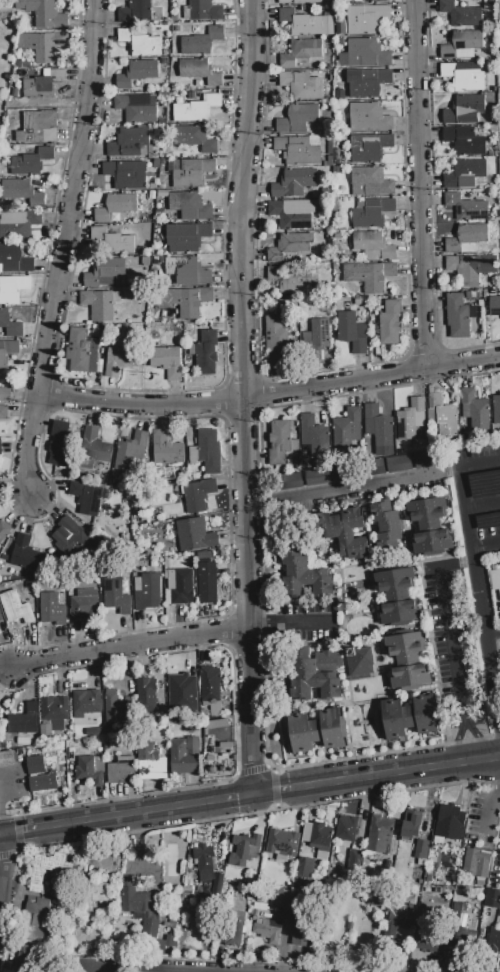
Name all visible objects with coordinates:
building: (376, 1)
building: (498, 1)
building: (299, 2)
building: (202, 11)
building: (136, 12)
building: (44, 13)
building: (462, 14)
building: (367, 19)
building: (307, 23)
building: (340, 26)
building: (201, 42)
building: (141, 43)
building: (44, 45)
building: (462, 45)
building: (301, 52)
building: (365, 54)
building: (139, 72)
building: (200, 72)
building: (463, 78)
building: (368, 82)
building: (43, 84)
building: (302, 85)
building: (136, 109)
building: (197, 109)
building: (465, 110)
building: (369, 118)
building: (298, 119)
building: (38, 128)
building: (195, 138)
building: (465, 141)
building: (129, 143)
building: (369, 147)
building: (299, 150)
building: (32, 162)
building: (192, 173)
building: (127, 174)
building: (464, 174)
building: (370, 182)
building: (294, 183)
road: (418, 186)
building: (21, 194)
road: (431, 205)
building: (116, 207)
building: (190, 207)
building: (466, 207)
building: (373, 213)
building: (290, 217)
building: (18, 225)
building: (186, 237)
building: (466, 238)
building: (110, 241)
building: (374, 244)
building: (290, 246)
road: (64, 250)
building: (14, 259)
building: (184, 266)
building: (464, 270)
building: (104, 271)
building: (369, 275)
building: (205, 277)
building: (289, 281)
building: (13, 289)
building: (187, 301)
building: (100, 304)
building: (495, 306)
building: (459, 315)
building: (390, 323)
building: (9, 325)
building: (352, 332)
building: (317, 336)
building: (276, 338)
building: (8, 351)
building: (81, 352)
building: (206, 353)
road: (424, 353)
building: (120, 359)
building: (167, 361)
road: (322, 371)
road: (263, 380)
road: (140, 388)
building: (6, 394)
road: (271, 394)
road: (343, 396)
road: (244, 397)
building: (496, 409)
building: (474, 410)
building: (4, 412)
building: (443, 416)
building: (409, 419)
building: (378, 425)
building: (347, 429)
building: (312, 432)
building: (279, 442)
building: (62, 446)
road: (39, 447)
building: (0, 449)
building: (167, 449)
building: (209, 451)
building: (96, 453)
building: (132, 454)
building: (194, 456)
building: (426, 459)
road: (479, 463)
building: (399, 464)
building: (324, 476)
building: (289, 481)
road: (352, 484)
parking lot: (484, 489)
building: (198, 495)
building: (87, 498)
road: (259, 499)
road: (482, 505)
building: (387, 522)
building: (429, 528)
building: (4, 532)
building: (347, 533)
building: (152, 534)
building: (160, 535)
building: (193, 536)
building: (73, 539)
road: (486, 546)
building: (27, 554)
road: (261, 558)
building: (305, 575)
building: (495, 579)
building: (207, 583)
road: (485, 584)
building: (179, 587)
building: (147, 590)
road: (479, 595)
building: (116, 596)
building: (398, 598)
building: (85, 605)
building: (17, 609)
building: (52, 610)
building: (0, 619)
road: (262, 625)
road: (300, 625)
road: (259, 627)
road: (447, 627)
road: (228, 632)
road: (430, 634)
road: (493, 634)
road: (493, 636)
road: (134, 646)
road: (224, 648)
building: (360, 661)
building: (408, 661)
road: (496, 661)
building: (316, 675)
building: (211, 687)
building: (186, 691)
building: (146, 695)
building: (86, 703)
building: (114, 707)
building: (56, 709)
building: (0, 717)
building: (410, 717)
road: (465, 717)
building: (0, 718)
building: (23, 724)
building: (316, 732)
road: (496, 736)
road: (482, 739)
road: (467, 741)
road: (456, 743)
building: (185, 756)
building: (7, 759)
building: (151, 763)
road: (298, 767)
building: (91, 769)
road: (251, 770)
building: (122, 771)
road: (495, 772)
building: (39, 775)
road: (378, 776)
road: (71, 806)
road: (491, 812)
road: (128, 814)
road: (3, 817)
building: (450, 822)
building: (412, 827)
building: (347, 828)
building: (317, 835)
building: (381, 837)
building: (283, 843)
building: (245, 845)
building: (421, 852)
road: (1, 857)
building: (353, 861)
building: (477, 862)
building: (204, 863)
building: (304, 867)
building: (49, 869)
building: (97, 896)
building: (282, 898)
building: (493, 899)
building: (137, 903)
building: (35, 919)
building: (398, 919)
building: (171, 926)
building: (232, 927)
building: (150, 928)
building: (268, 930)
building: (301, 932)
building: (464, 938)
building: (429, 939)
building: (494, 942)
building: (27, 958)
road: (114, 970)

